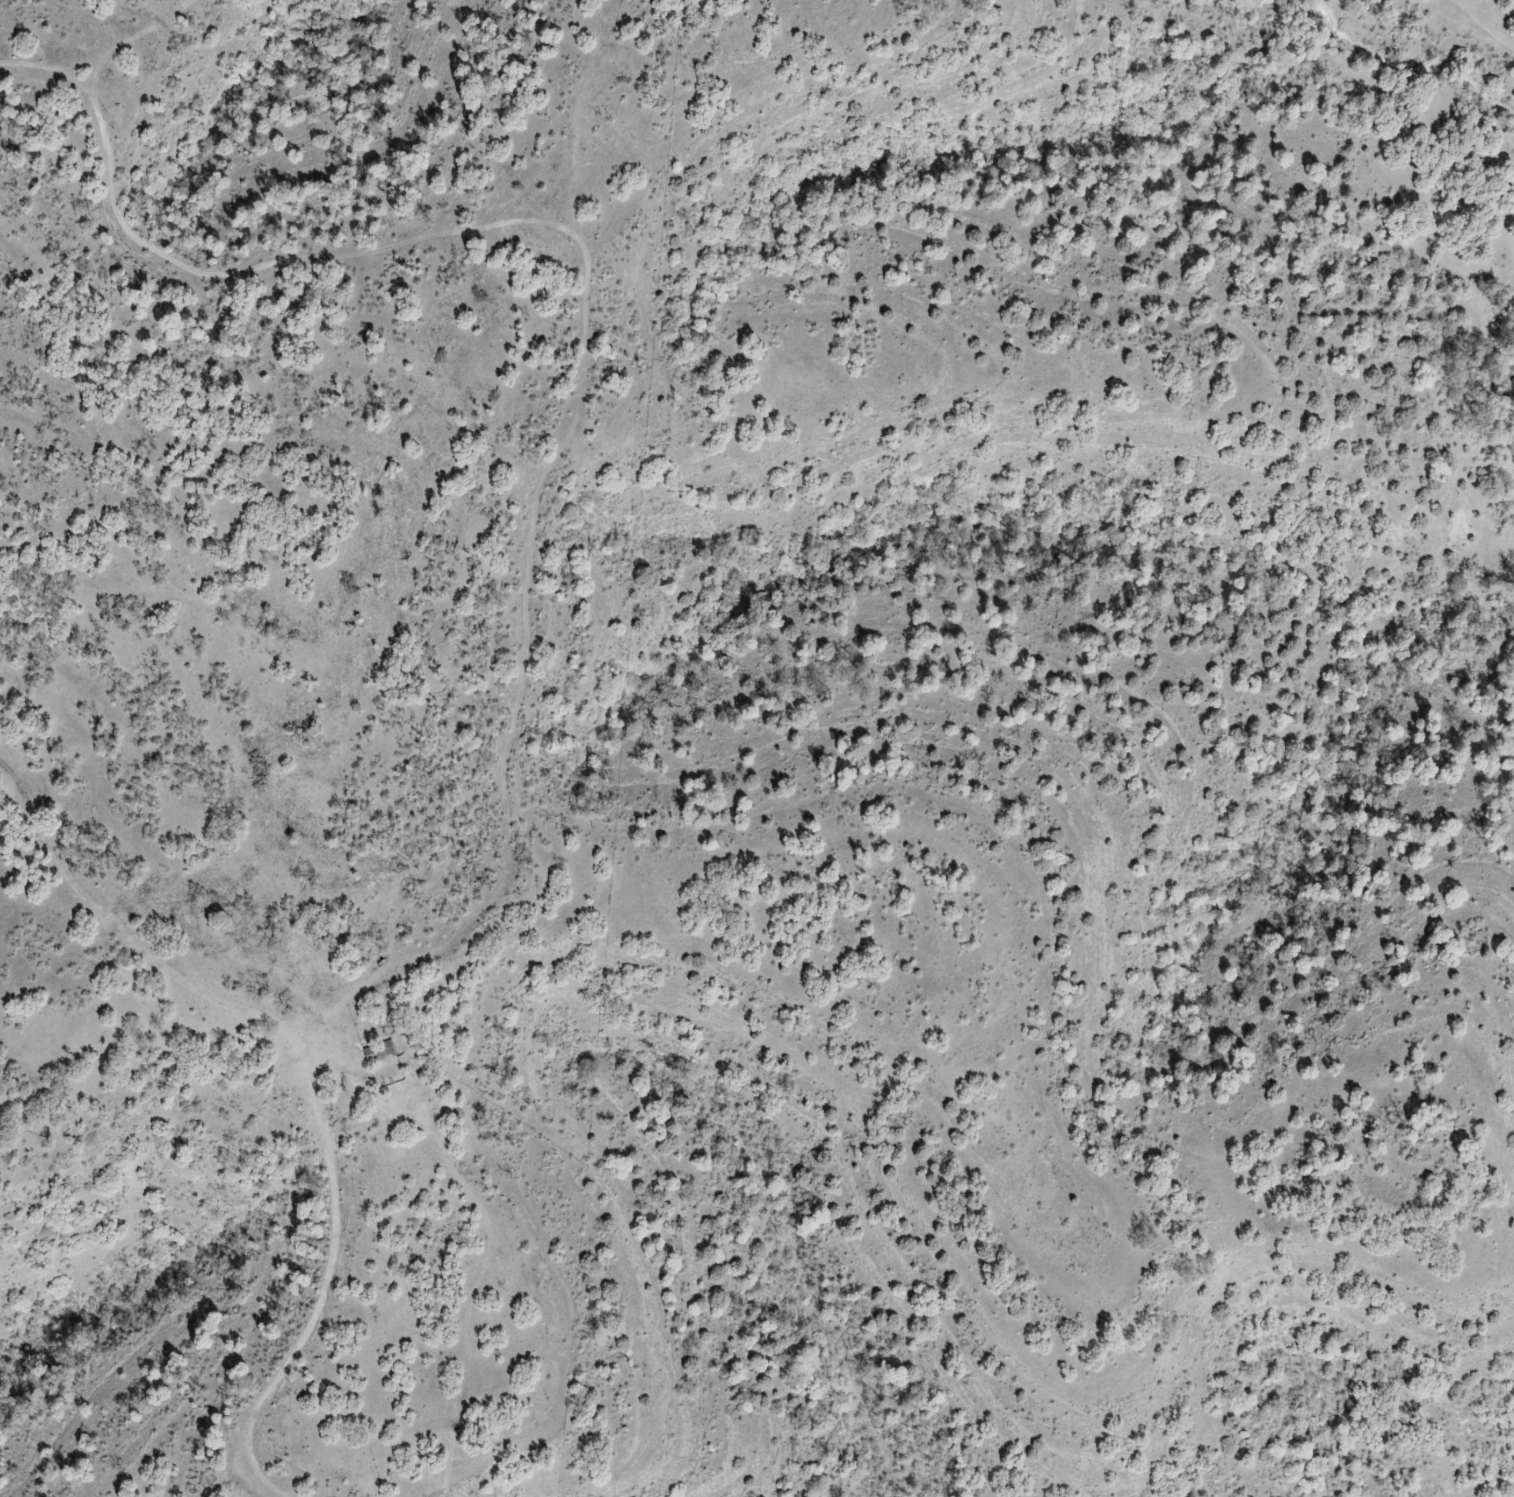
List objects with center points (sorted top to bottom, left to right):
building: (376, 1050)

